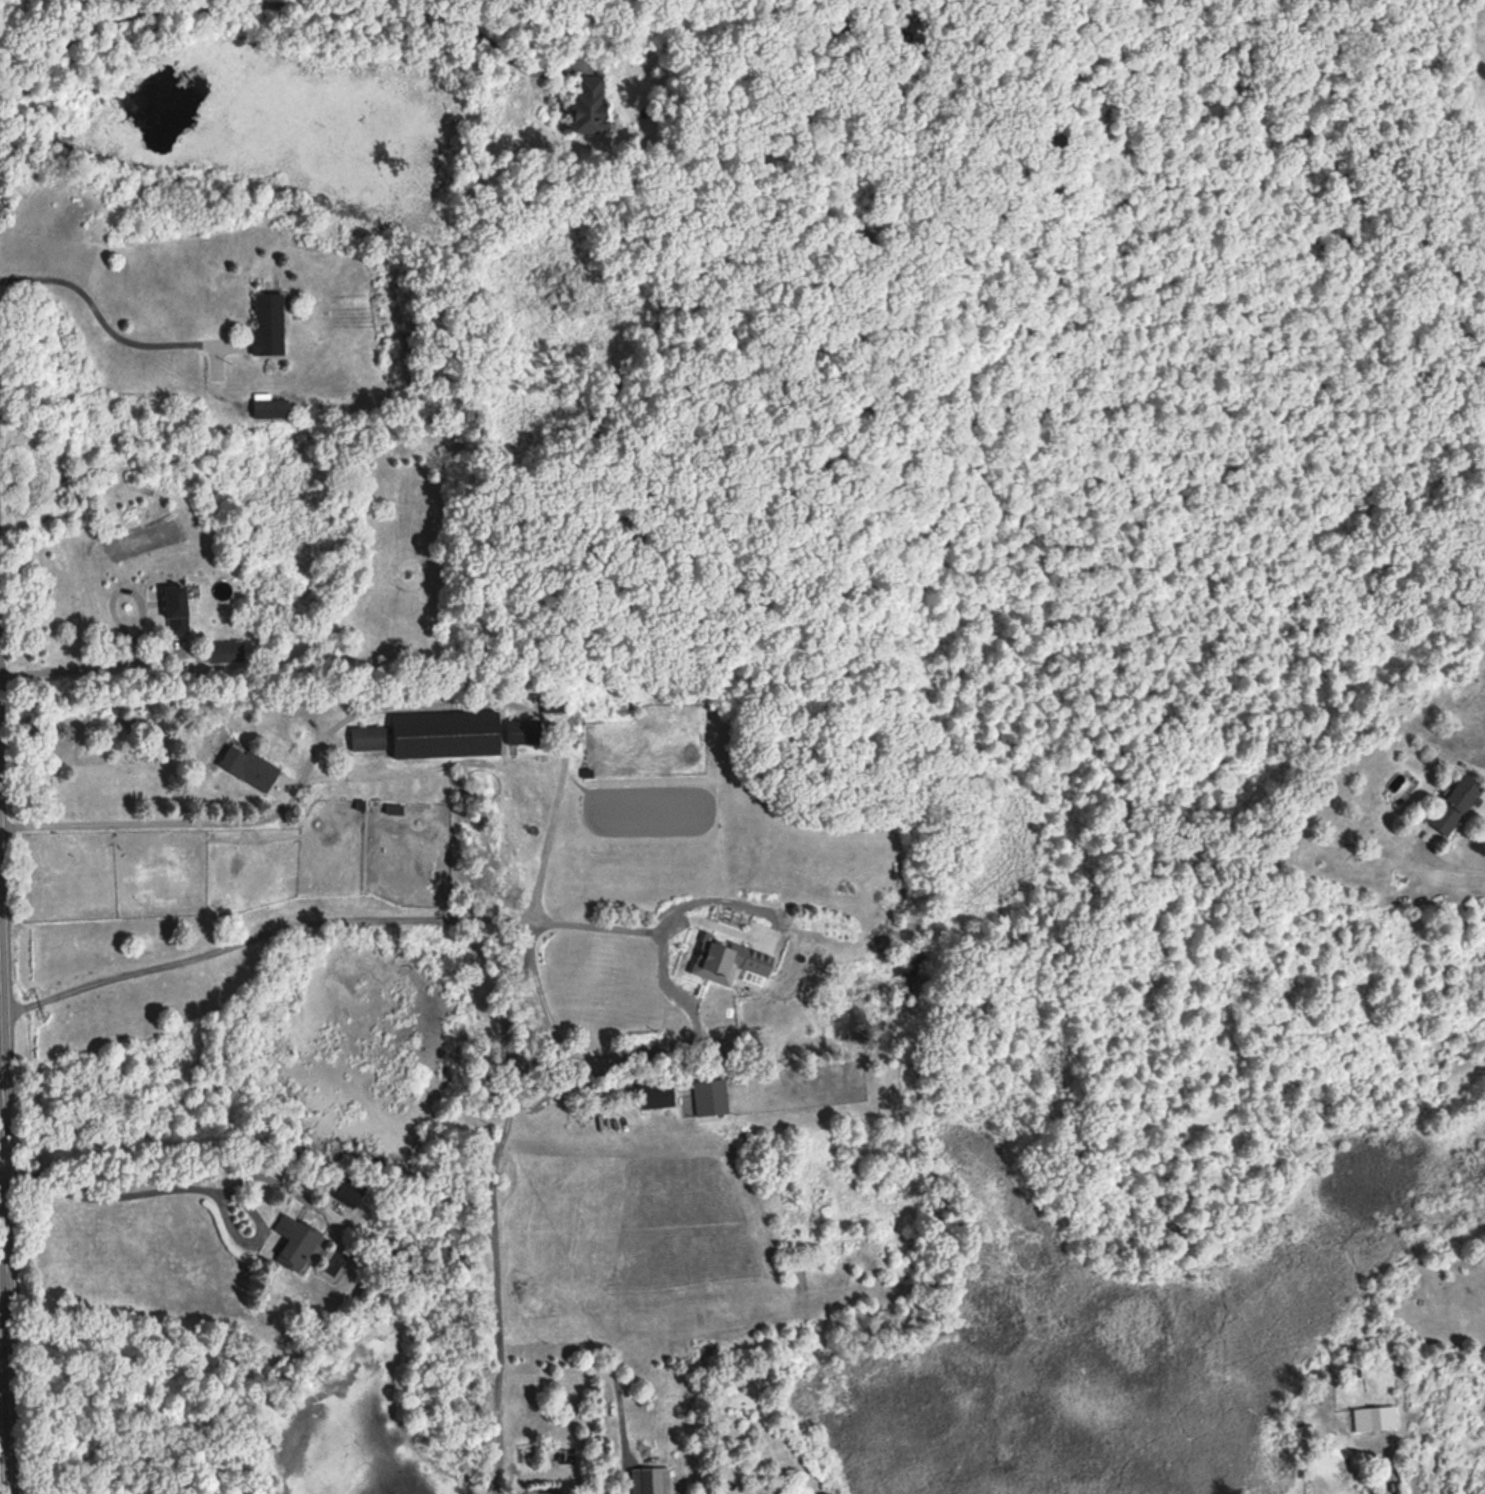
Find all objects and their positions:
road: (275, 2)
building: (591, 104)
road: (102, 319)
building: (270, 323)
building: (272, 407)
building: (178, 609)
building: (227, 651)
road: (89, 666)
building: (524, 731)
building: (447, 734)
building: (368, 738)
building: (250, 767)
road: (279, 804)
building: (1456, 804)
road: (1446, 855)
road: (322, 914)
road: (772, 918)
building: (714, 957)
road: (618, 1050)
building: (657, 1095)
road: (176, 1180)
building: (349, 1196)
road: (496, 1223)
building: (296, 1242)
road: (5, 1273)
road: (4, 1361)
road: (608, 1371)
building: (1371, 1417)
road: (1387, 1468)

